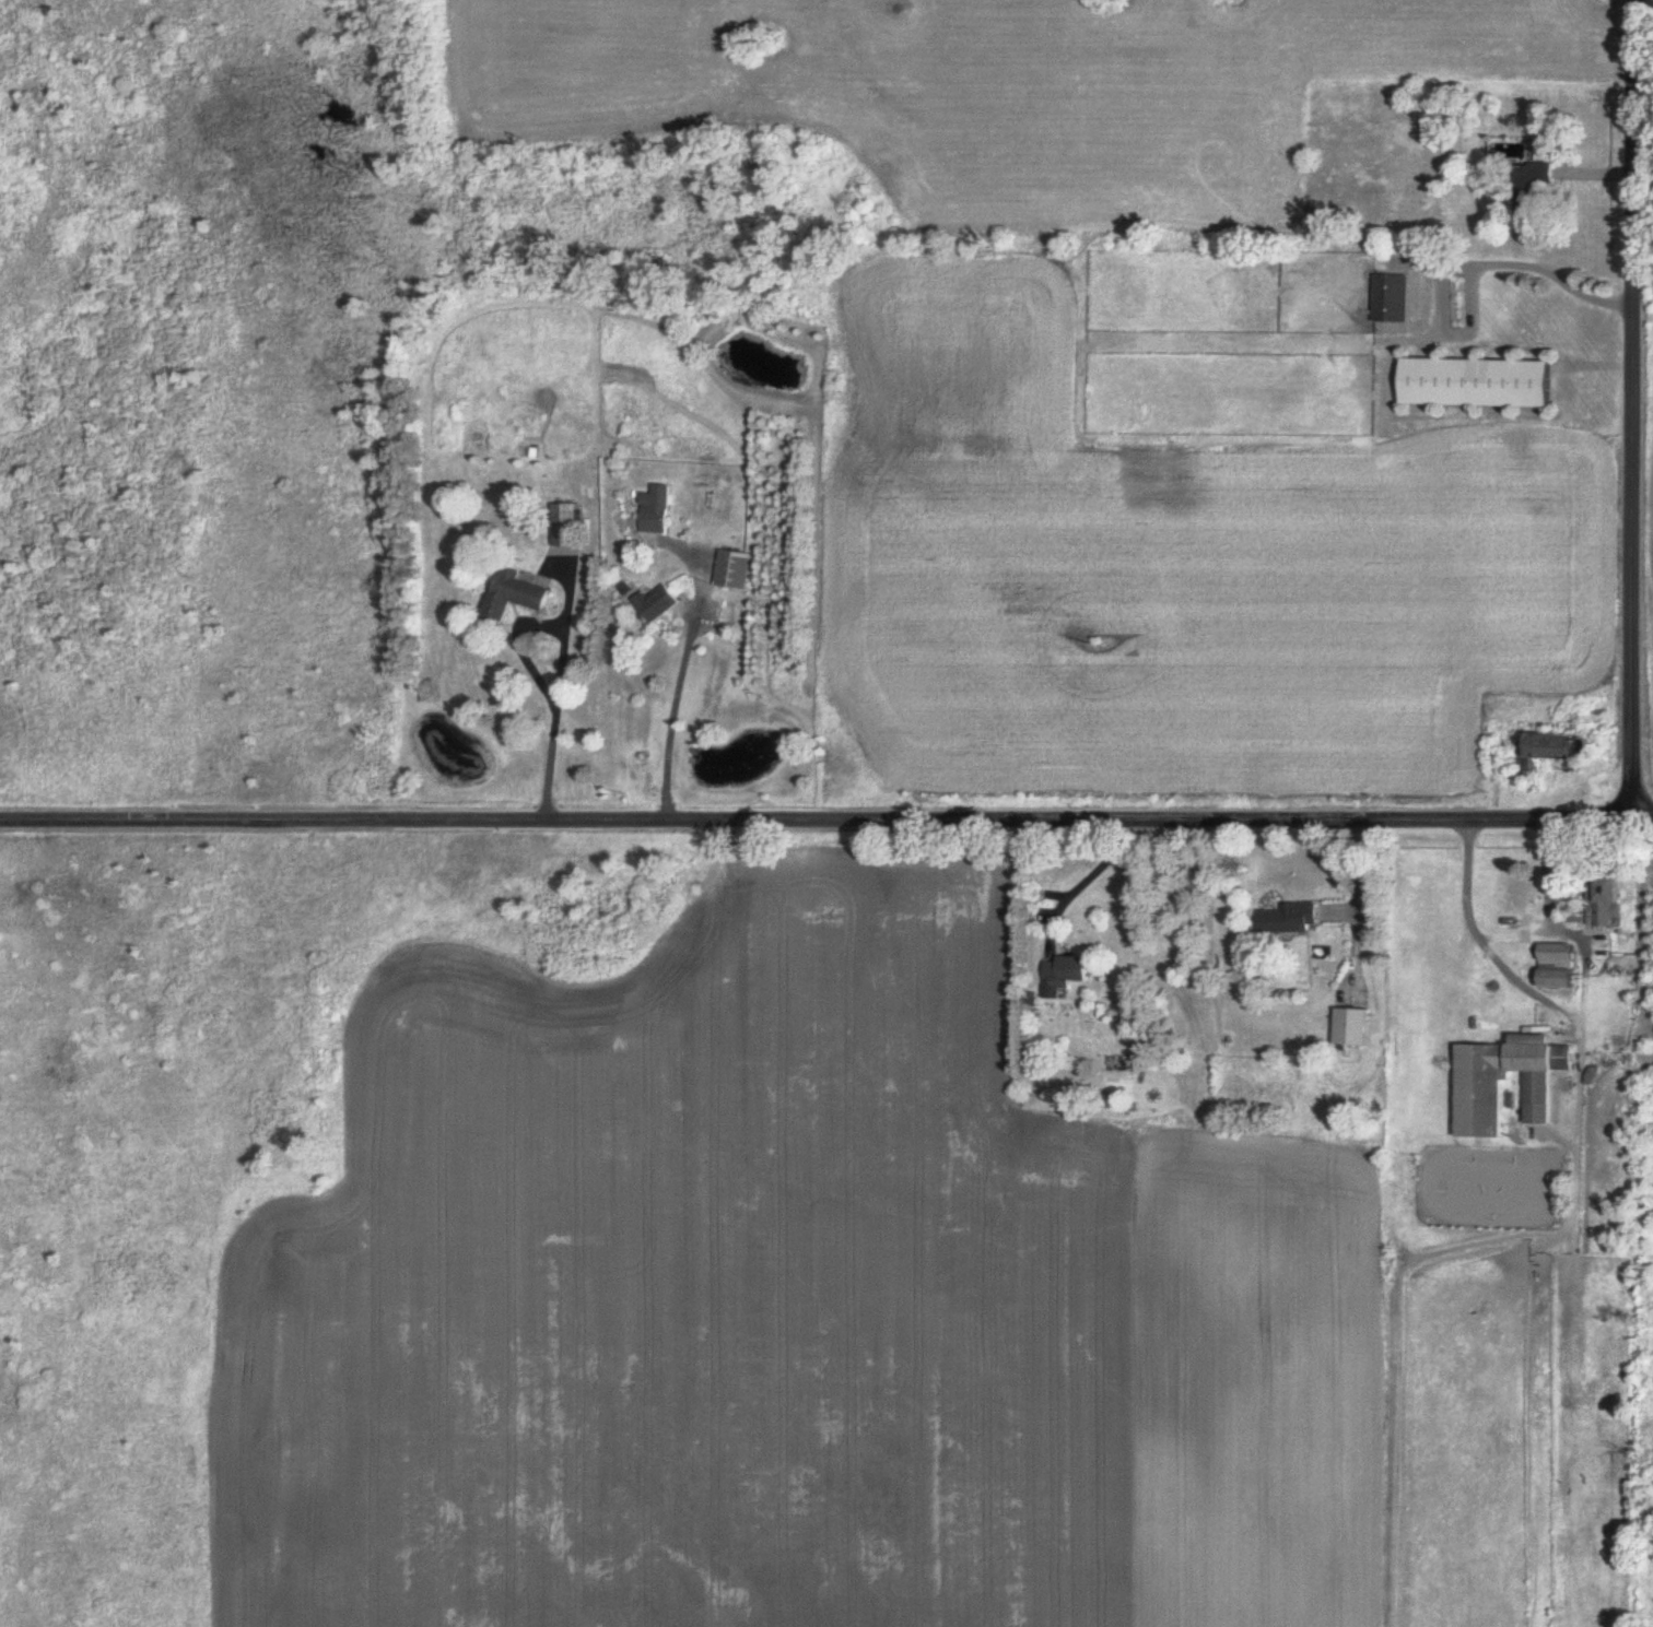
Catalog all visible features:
building: (1434, 130)
building: (1534, 181)
road: (1457, 267)
road: (1469, 281)
building: (1394, 298)
building: (1479, 384)
road: (1631, 410)
building: (656, 511)
building: (566, 526)
building: (736, 570)
building: (514, 596)
building: (659, 605)
road: (680, 676)
road: (554, 689)
building: (1544, 756)
road: (826, 818)
road: (1547, 879)
road: (1081, 884)
building: (1607, 900)
building: (1292, 919)
building: (1557, 967)
building: (1066, 975)
road: (1520, 985)
building: (1352, 1028)
building: (1480, 1103)

